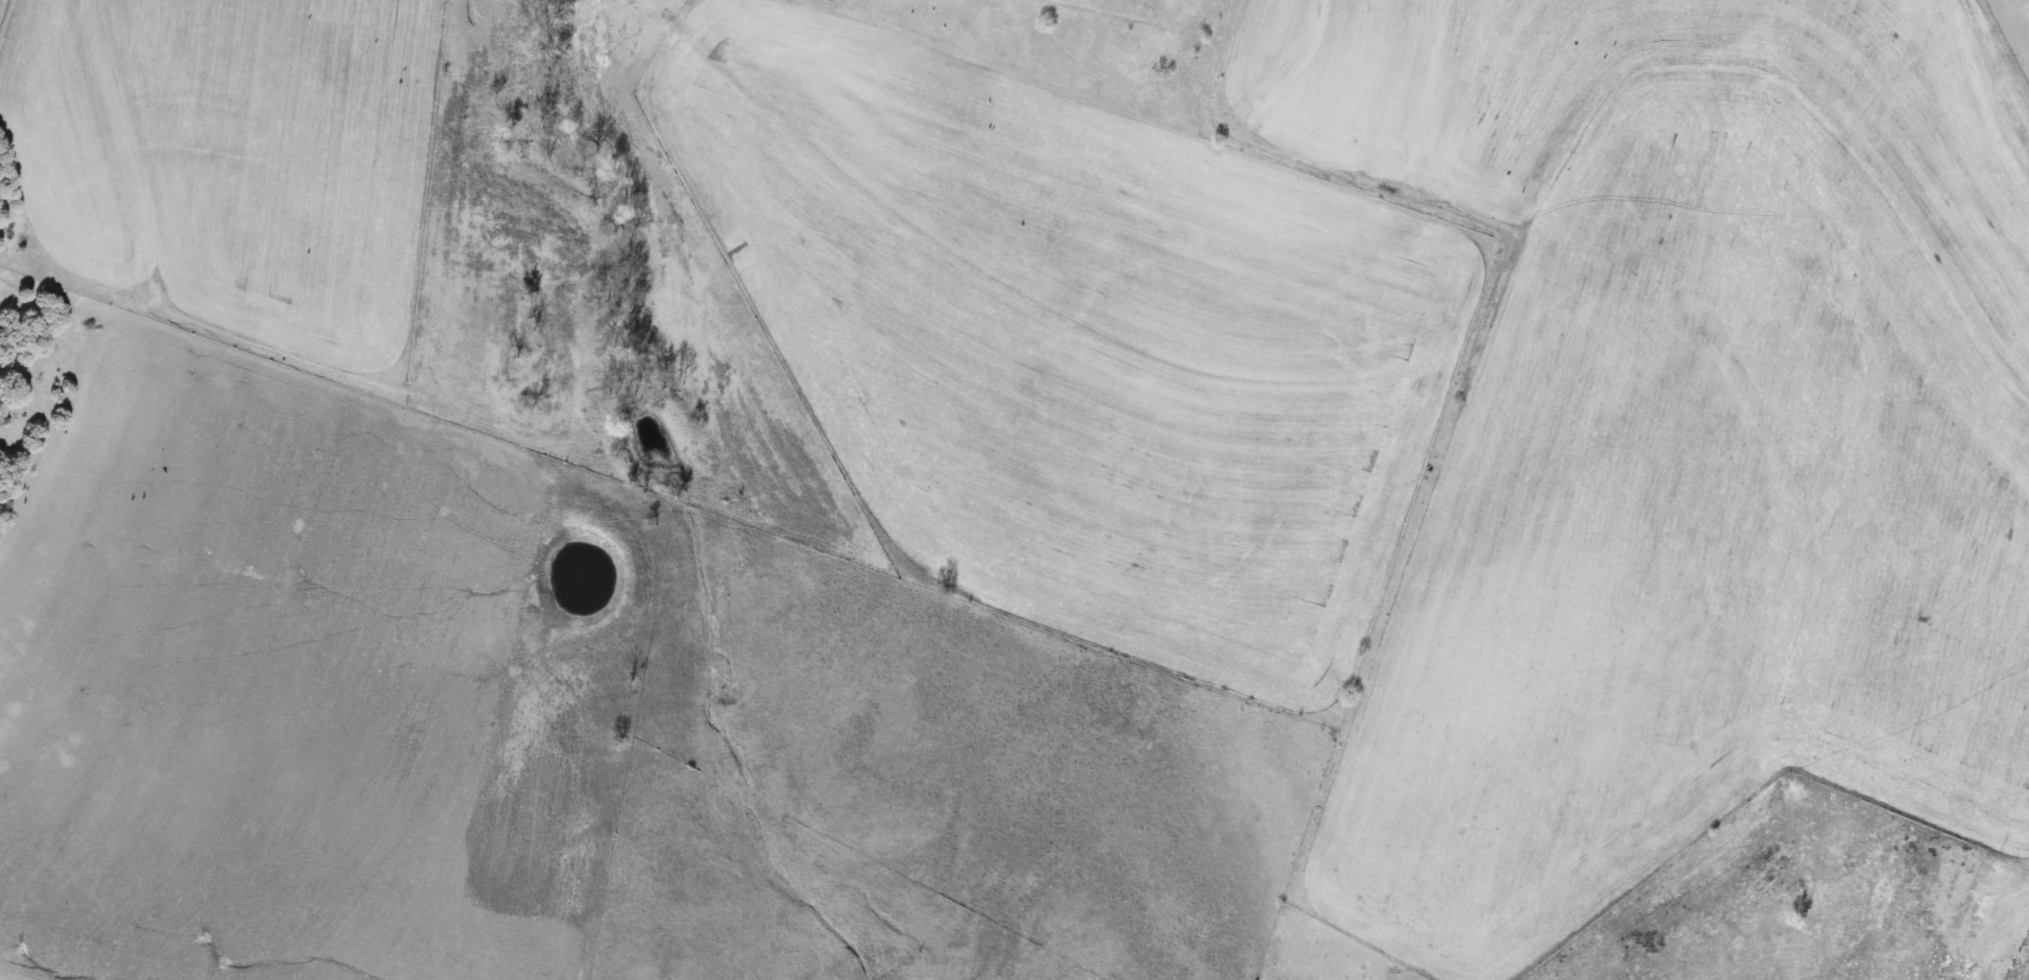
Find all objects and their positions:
building: (991, 14)
road: (17, 50)
road: (131, 622)

